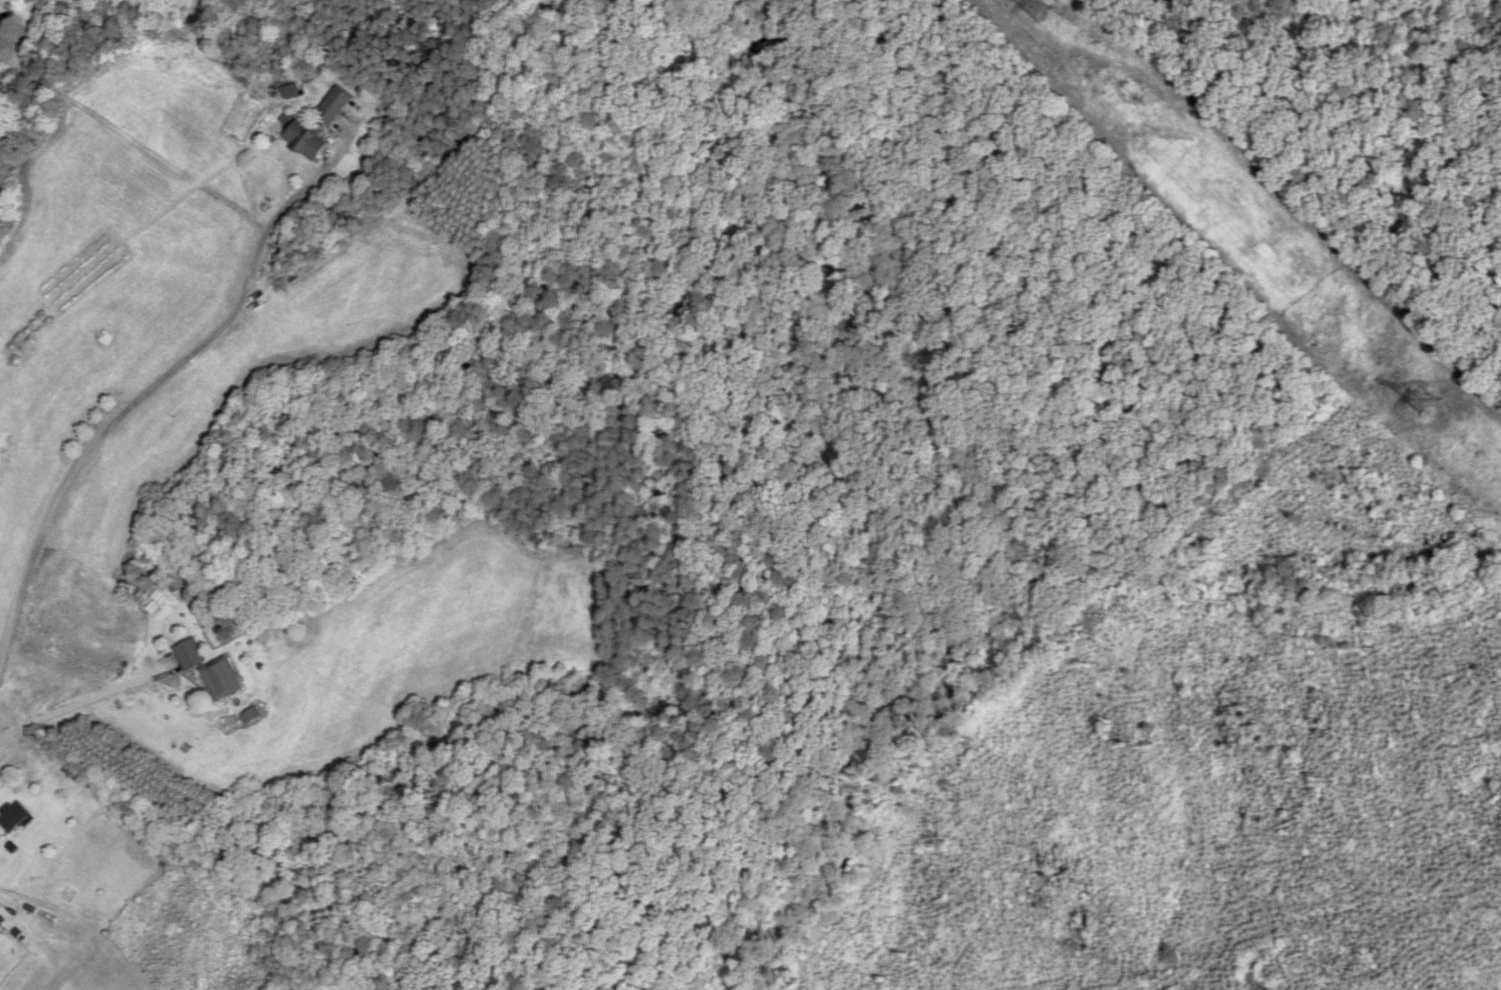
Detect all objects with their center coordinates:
power tower: (1038, 10)
building: (317, 126)
road: (134, 402)
power tower: (1432, 408)
building: (212, 671)
road: (83, 702)
building: (15, 817)

